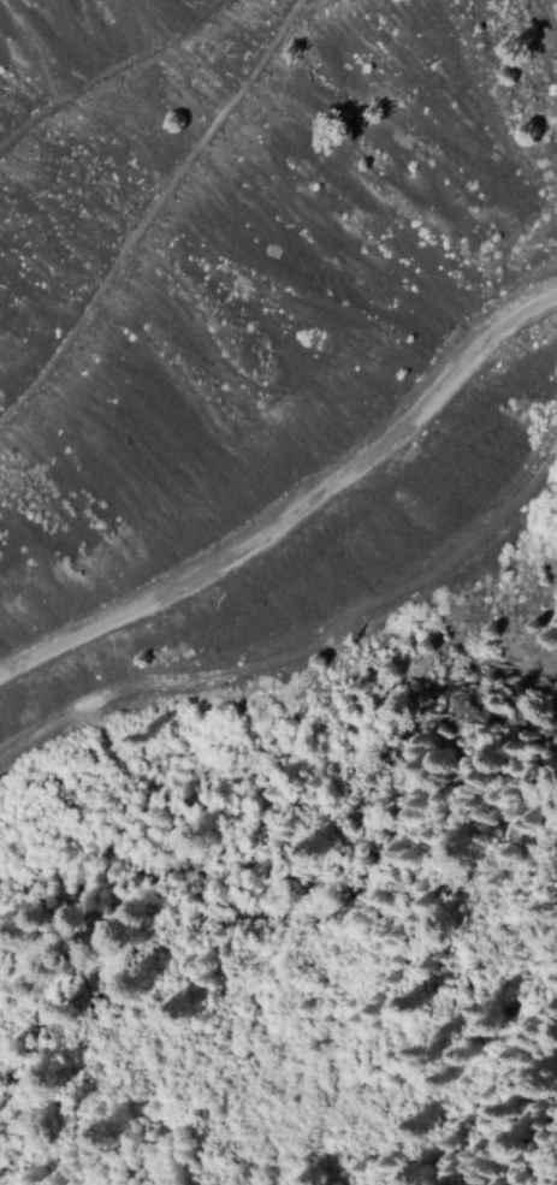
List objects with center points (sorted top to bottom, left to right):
road: (108, 73)
road: (153, 214)
road: (295, 515)
road: (307, 647)
road: (515, 1166)
road: (389, 1183)

